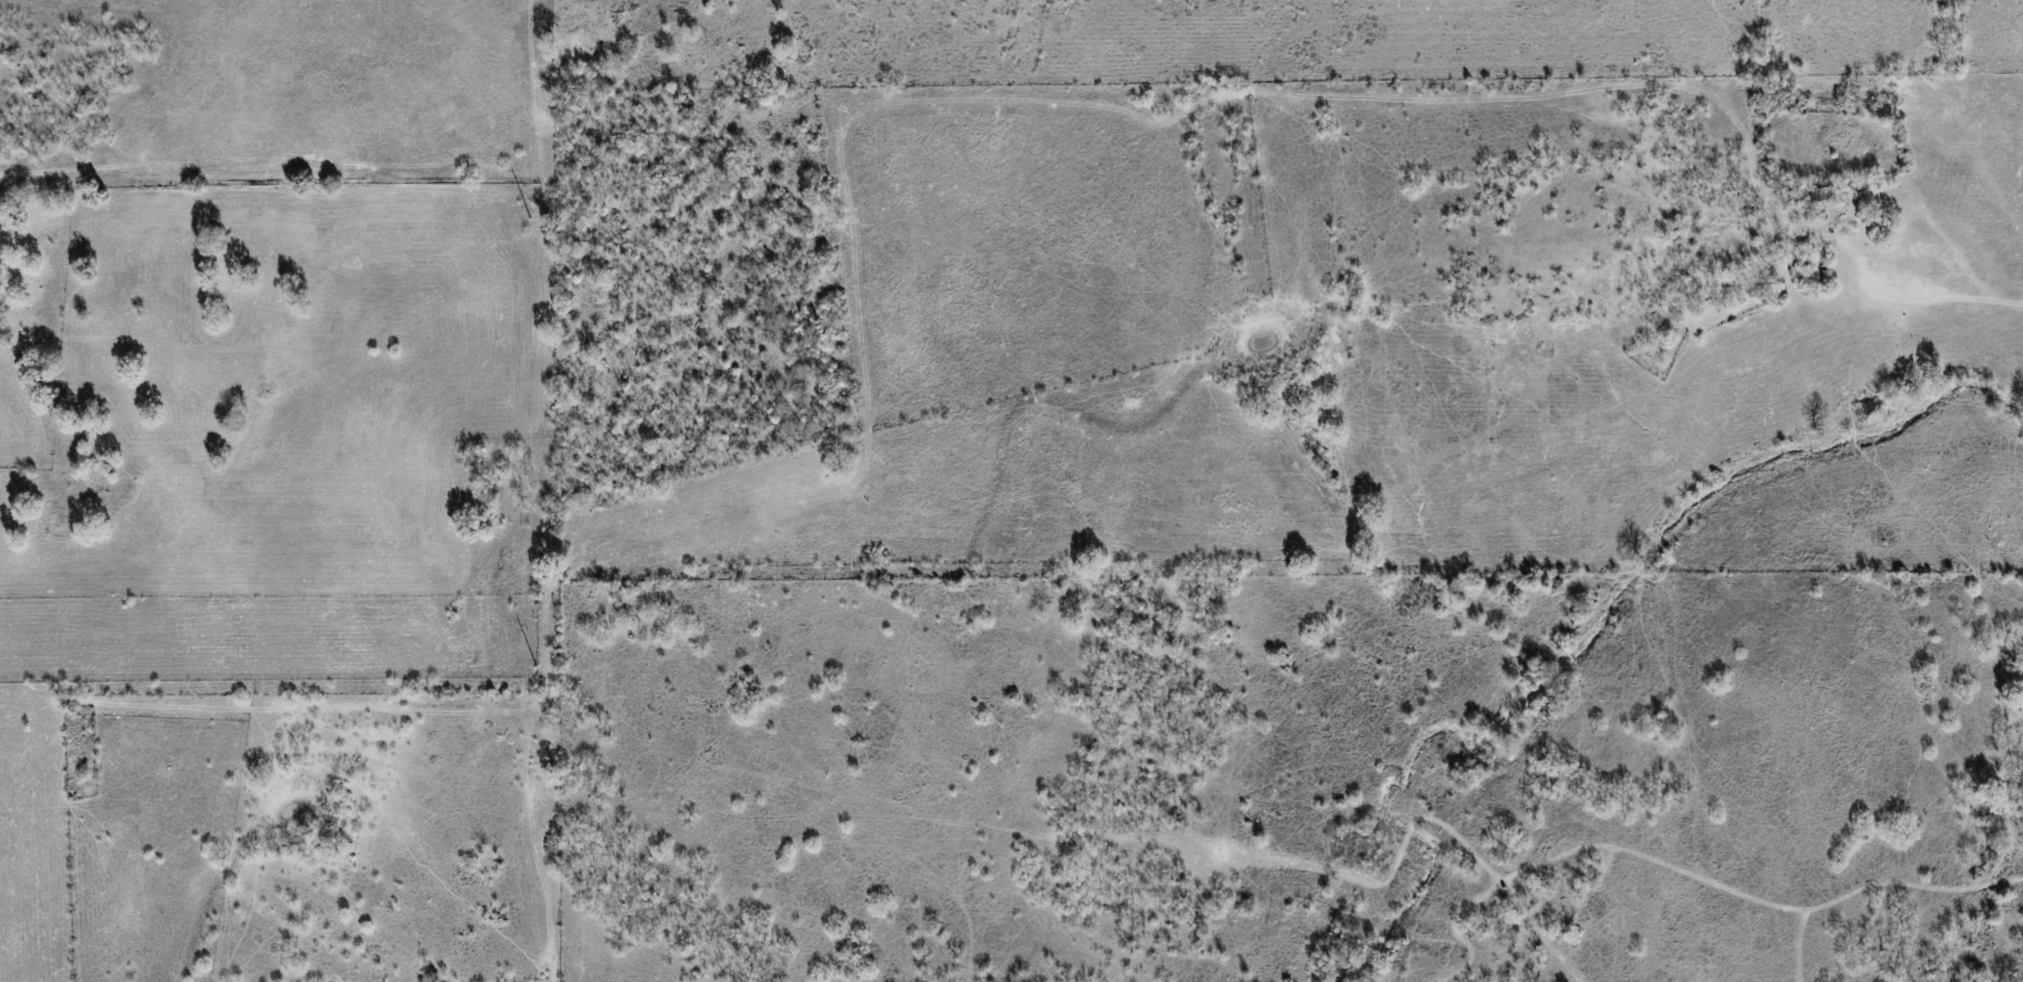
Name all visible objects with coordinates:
power tower: (531, 219)
power tower: (536, 667)

